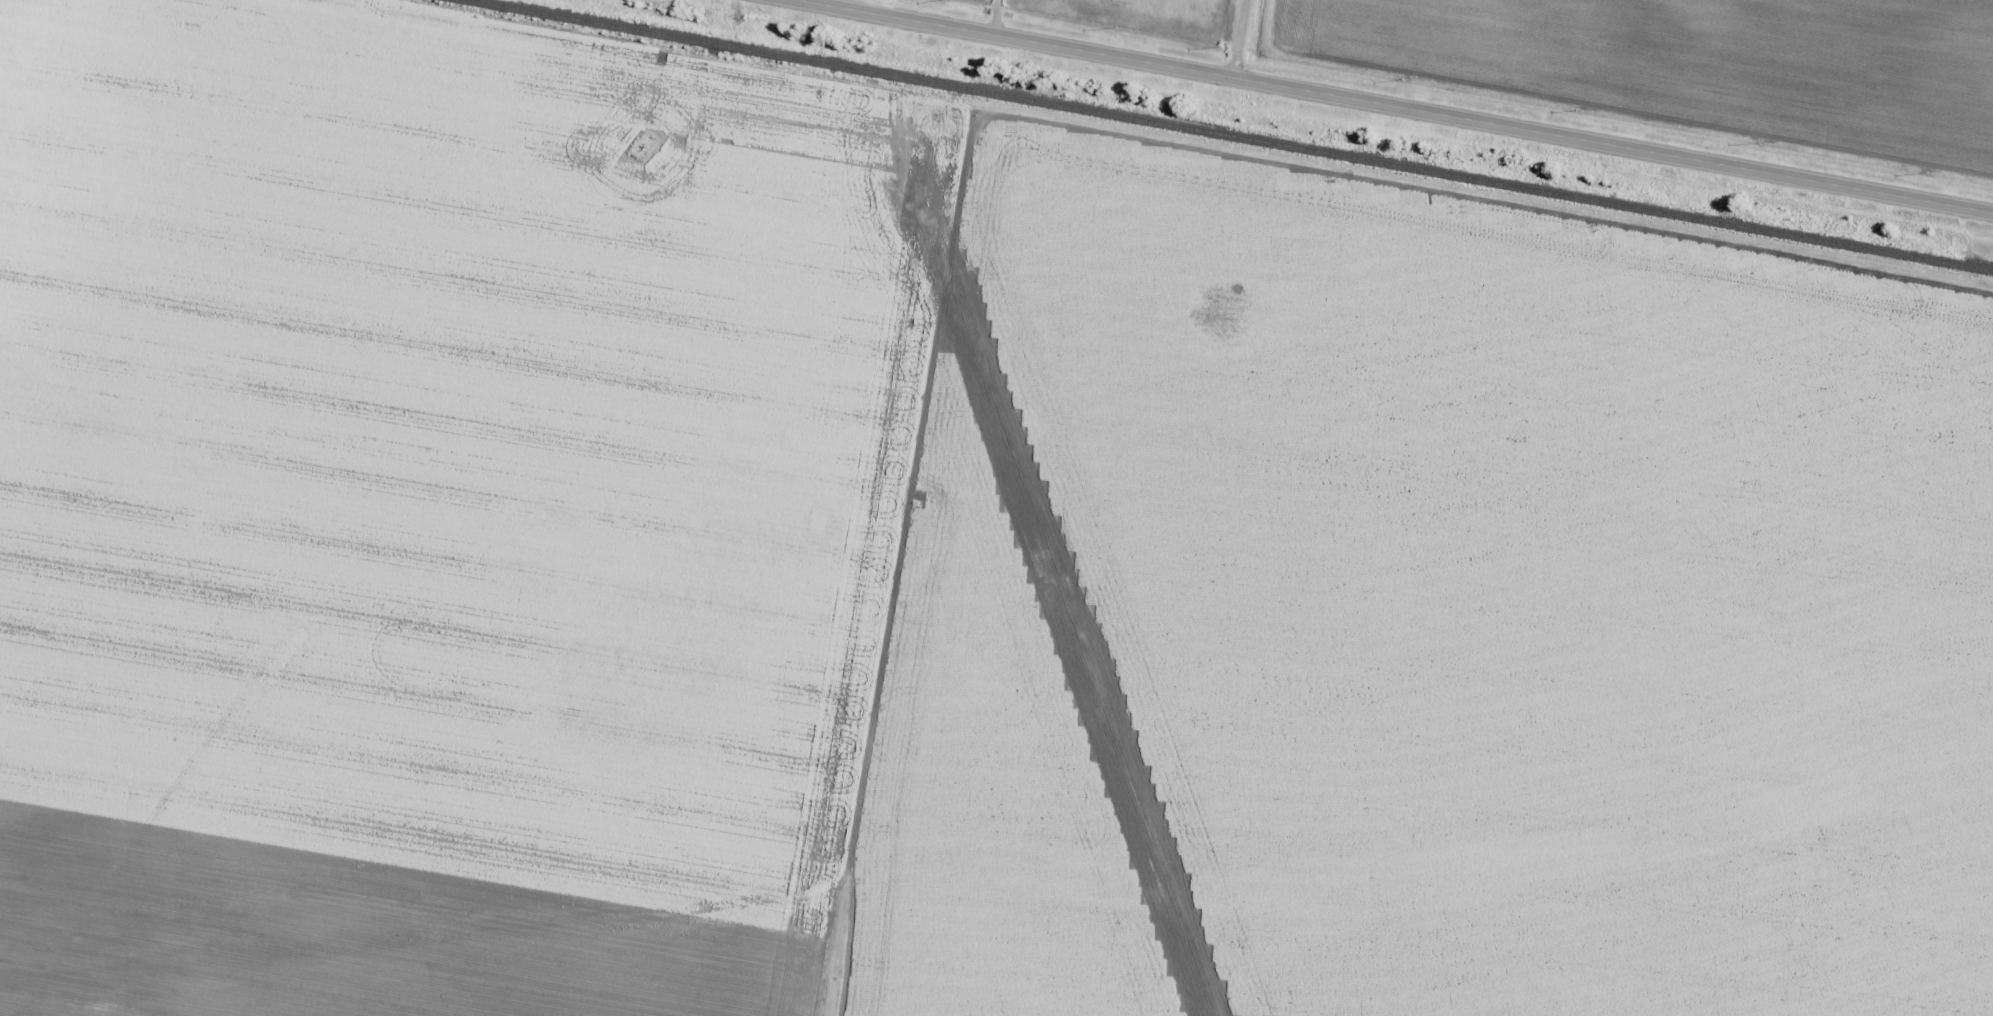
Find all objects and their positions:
road: (1244, 38)
road: (1399, 104)
railway: (1232, 137)
road: (968, 978)

